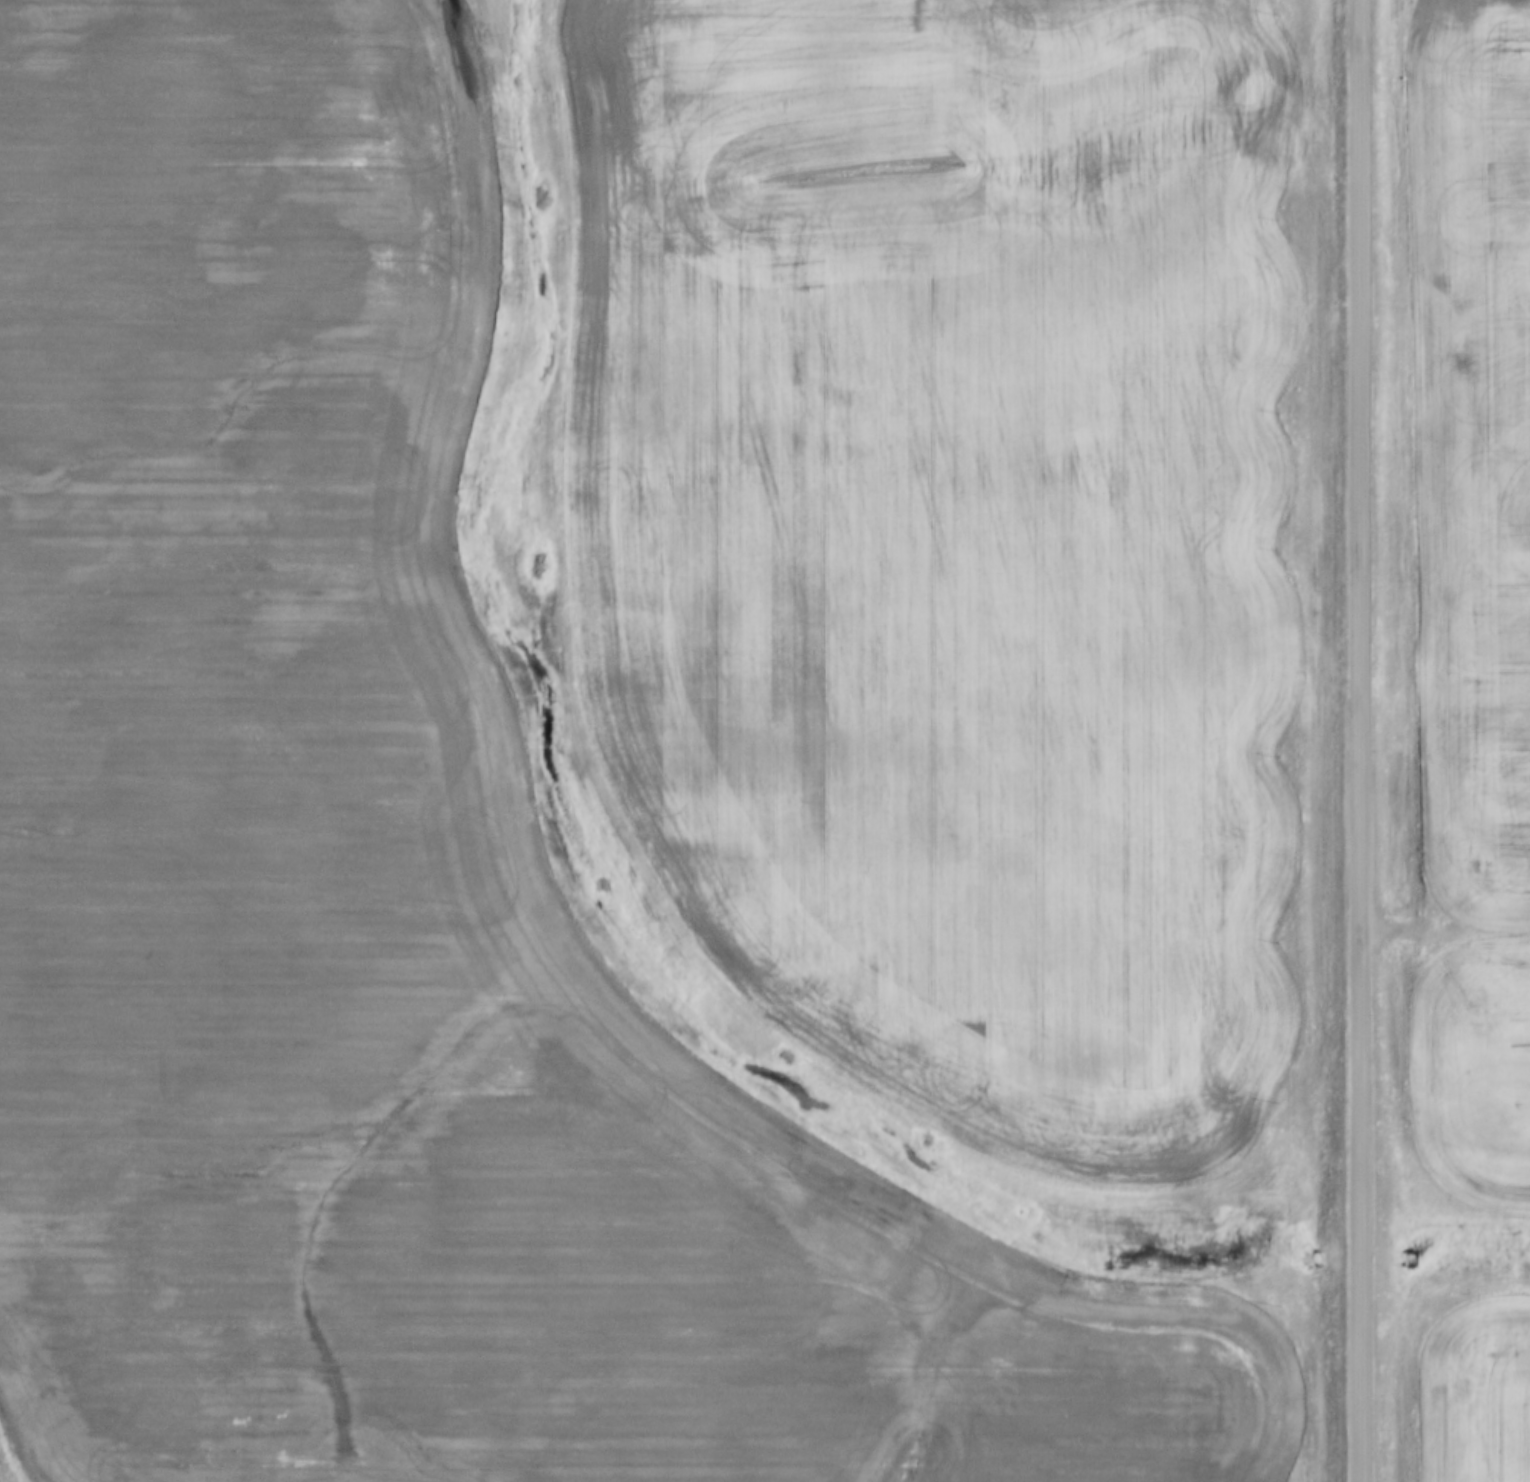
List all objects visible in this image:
road: (1359, 741)

